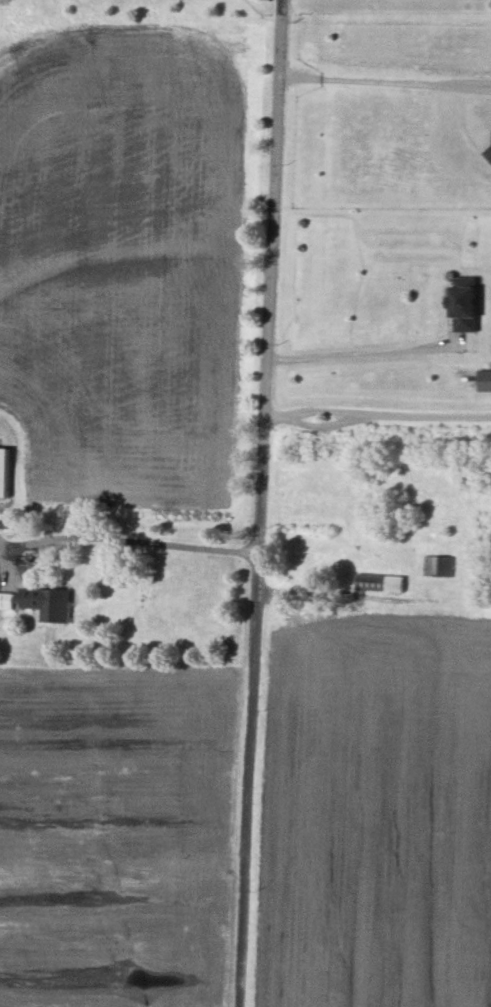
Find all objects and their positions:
road: (385, 85)
building: (488, 154)
building: (465, 305)
road: (364, 353)
building: (484, 381)
road: (377, 415)
building: (4, 472)
road: (261, 503)
road: (116, 539)
building: (439, 566)
building: (380, 583)
building: (41, 603)
crop: (123, 836)

